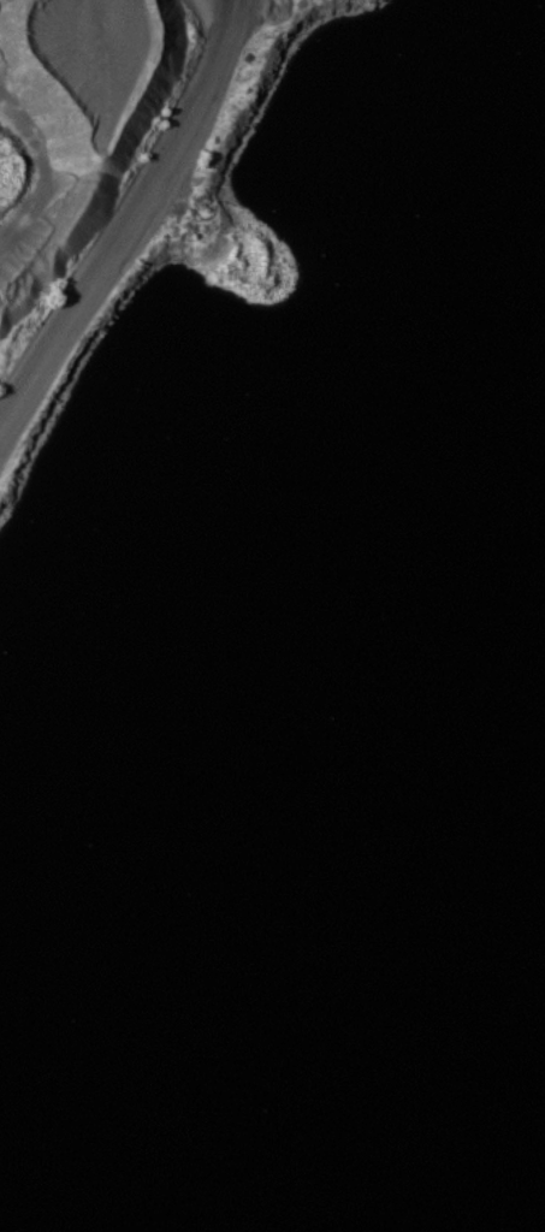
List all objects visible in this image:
road: (132, 224)

